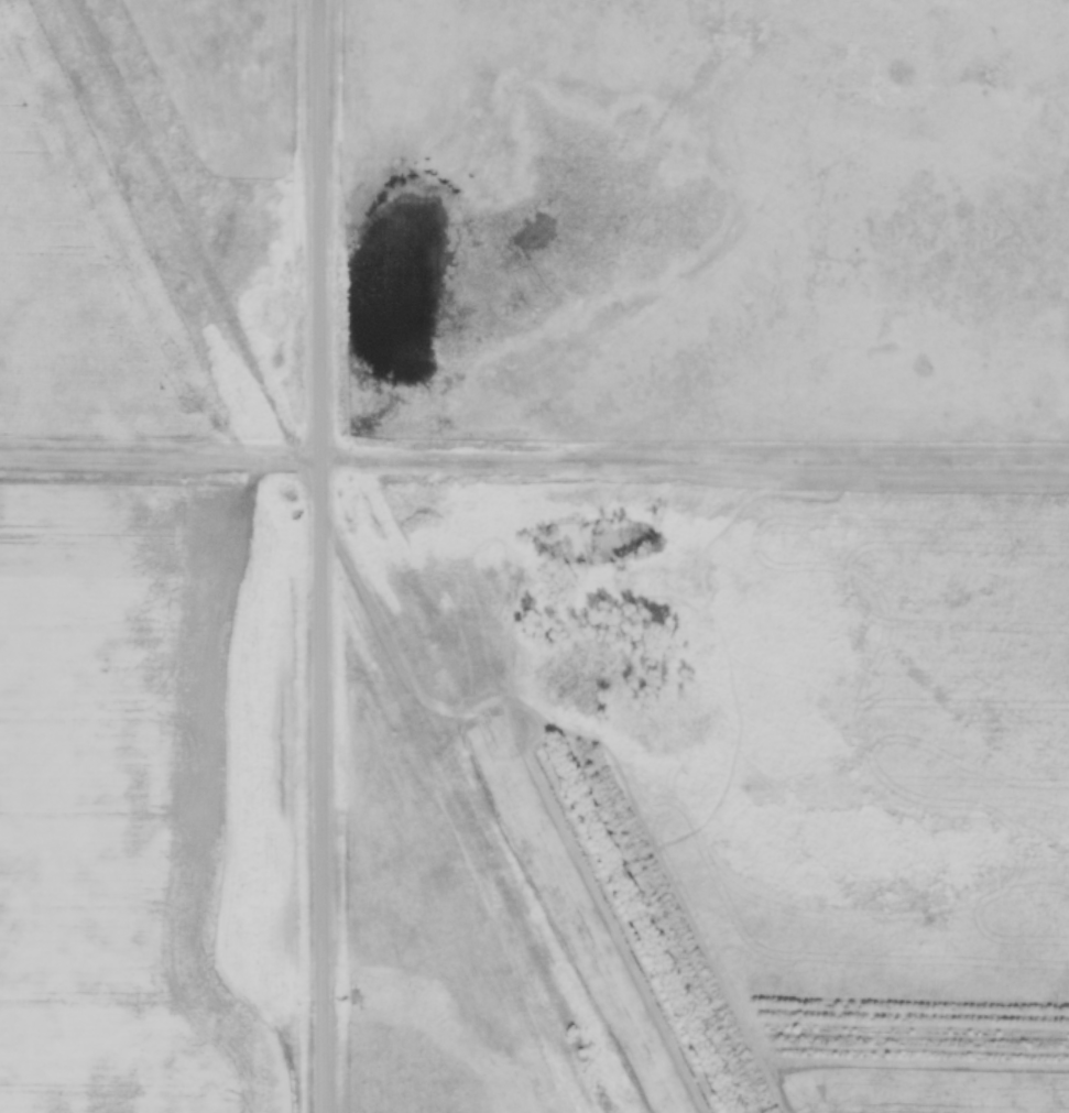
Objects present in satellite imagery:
road: (161, 443)
road: (323, 556)

